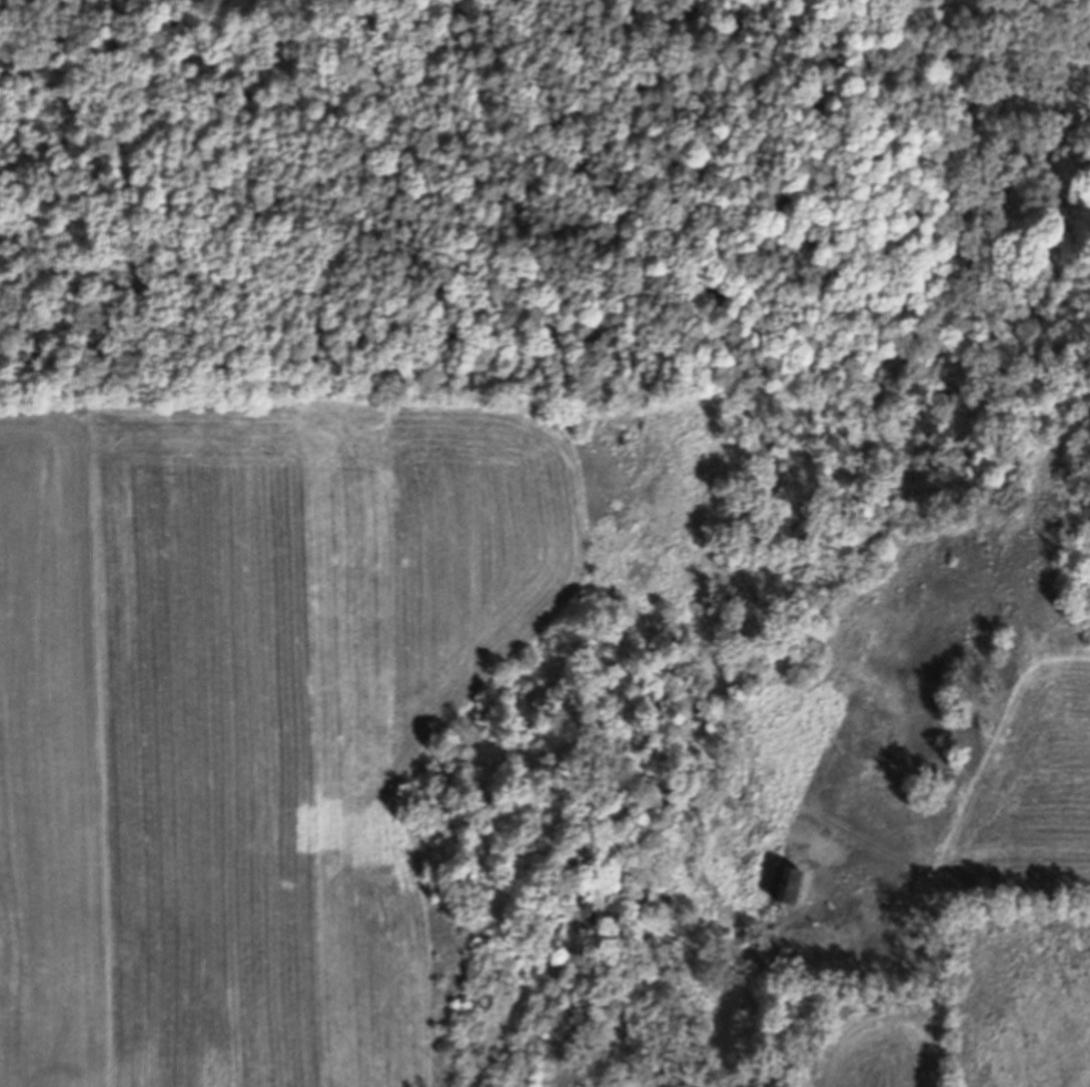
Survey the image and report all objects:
building: (788, 886)

